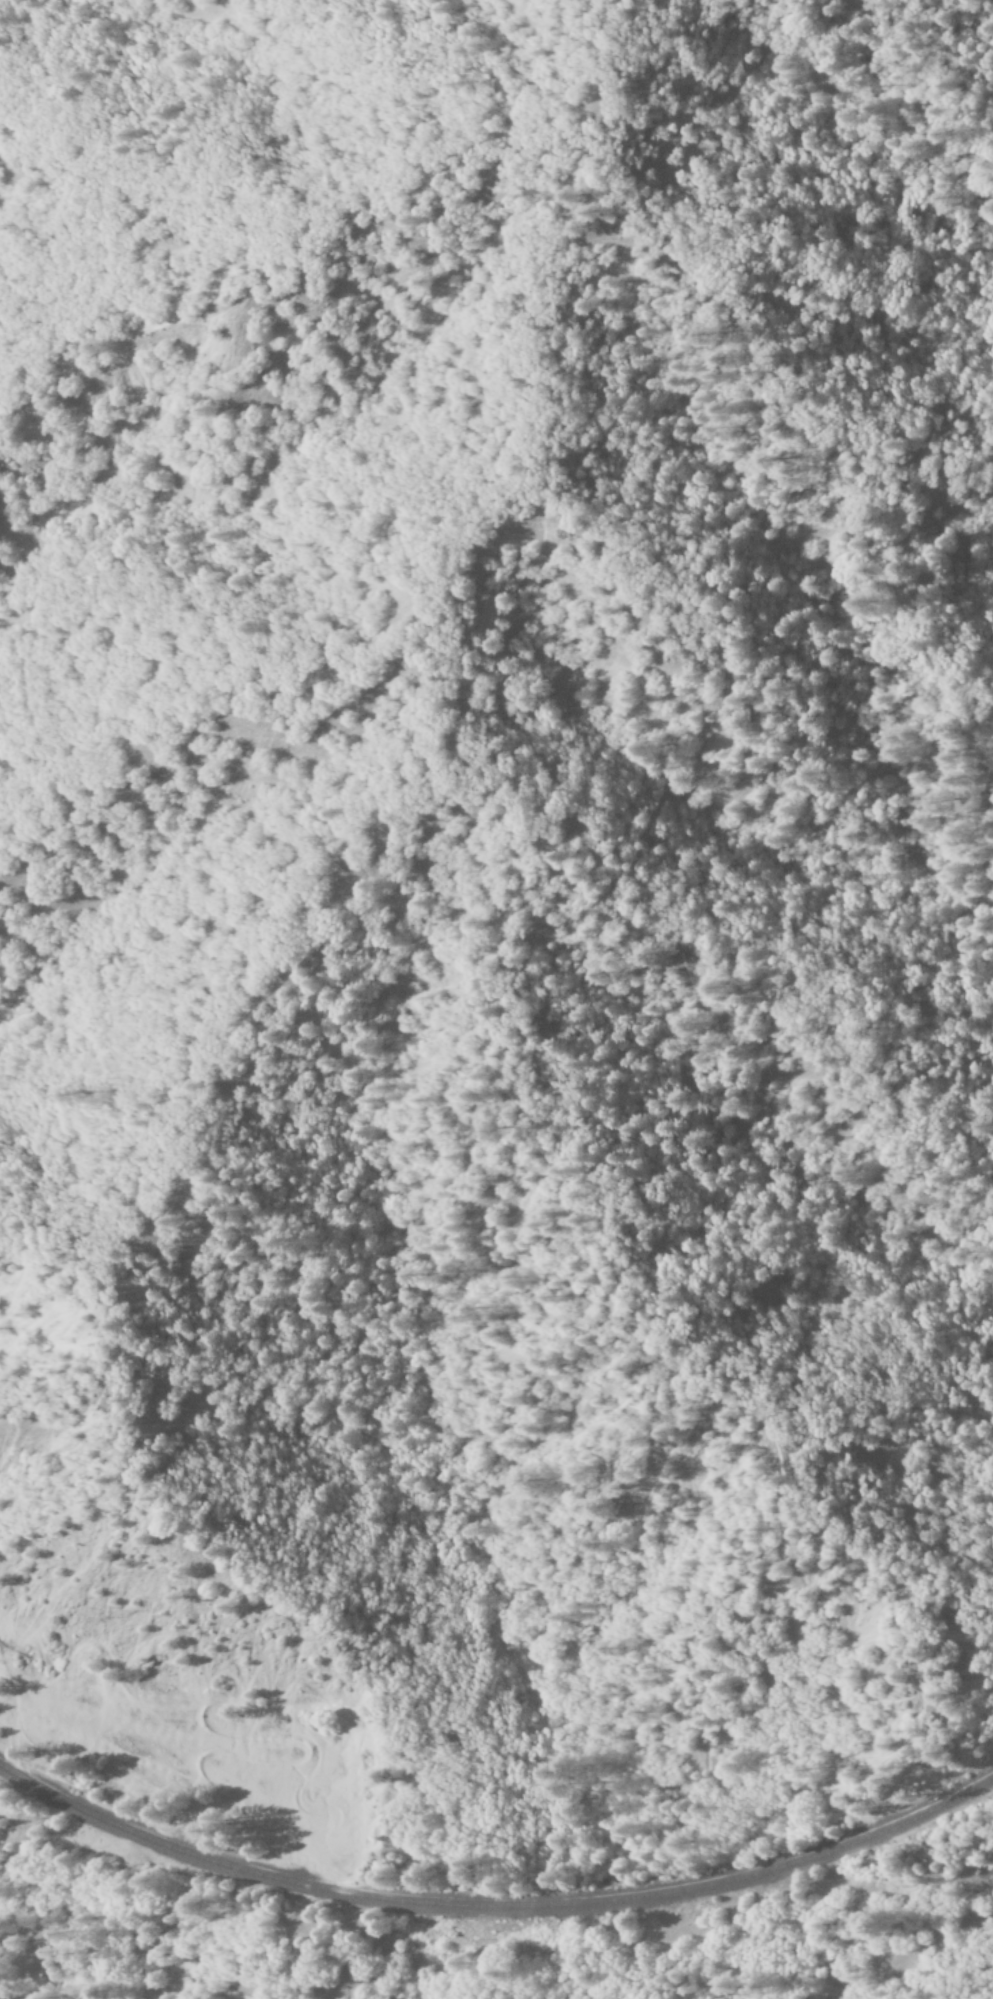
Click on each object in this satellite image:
railway: (493, 1903)

